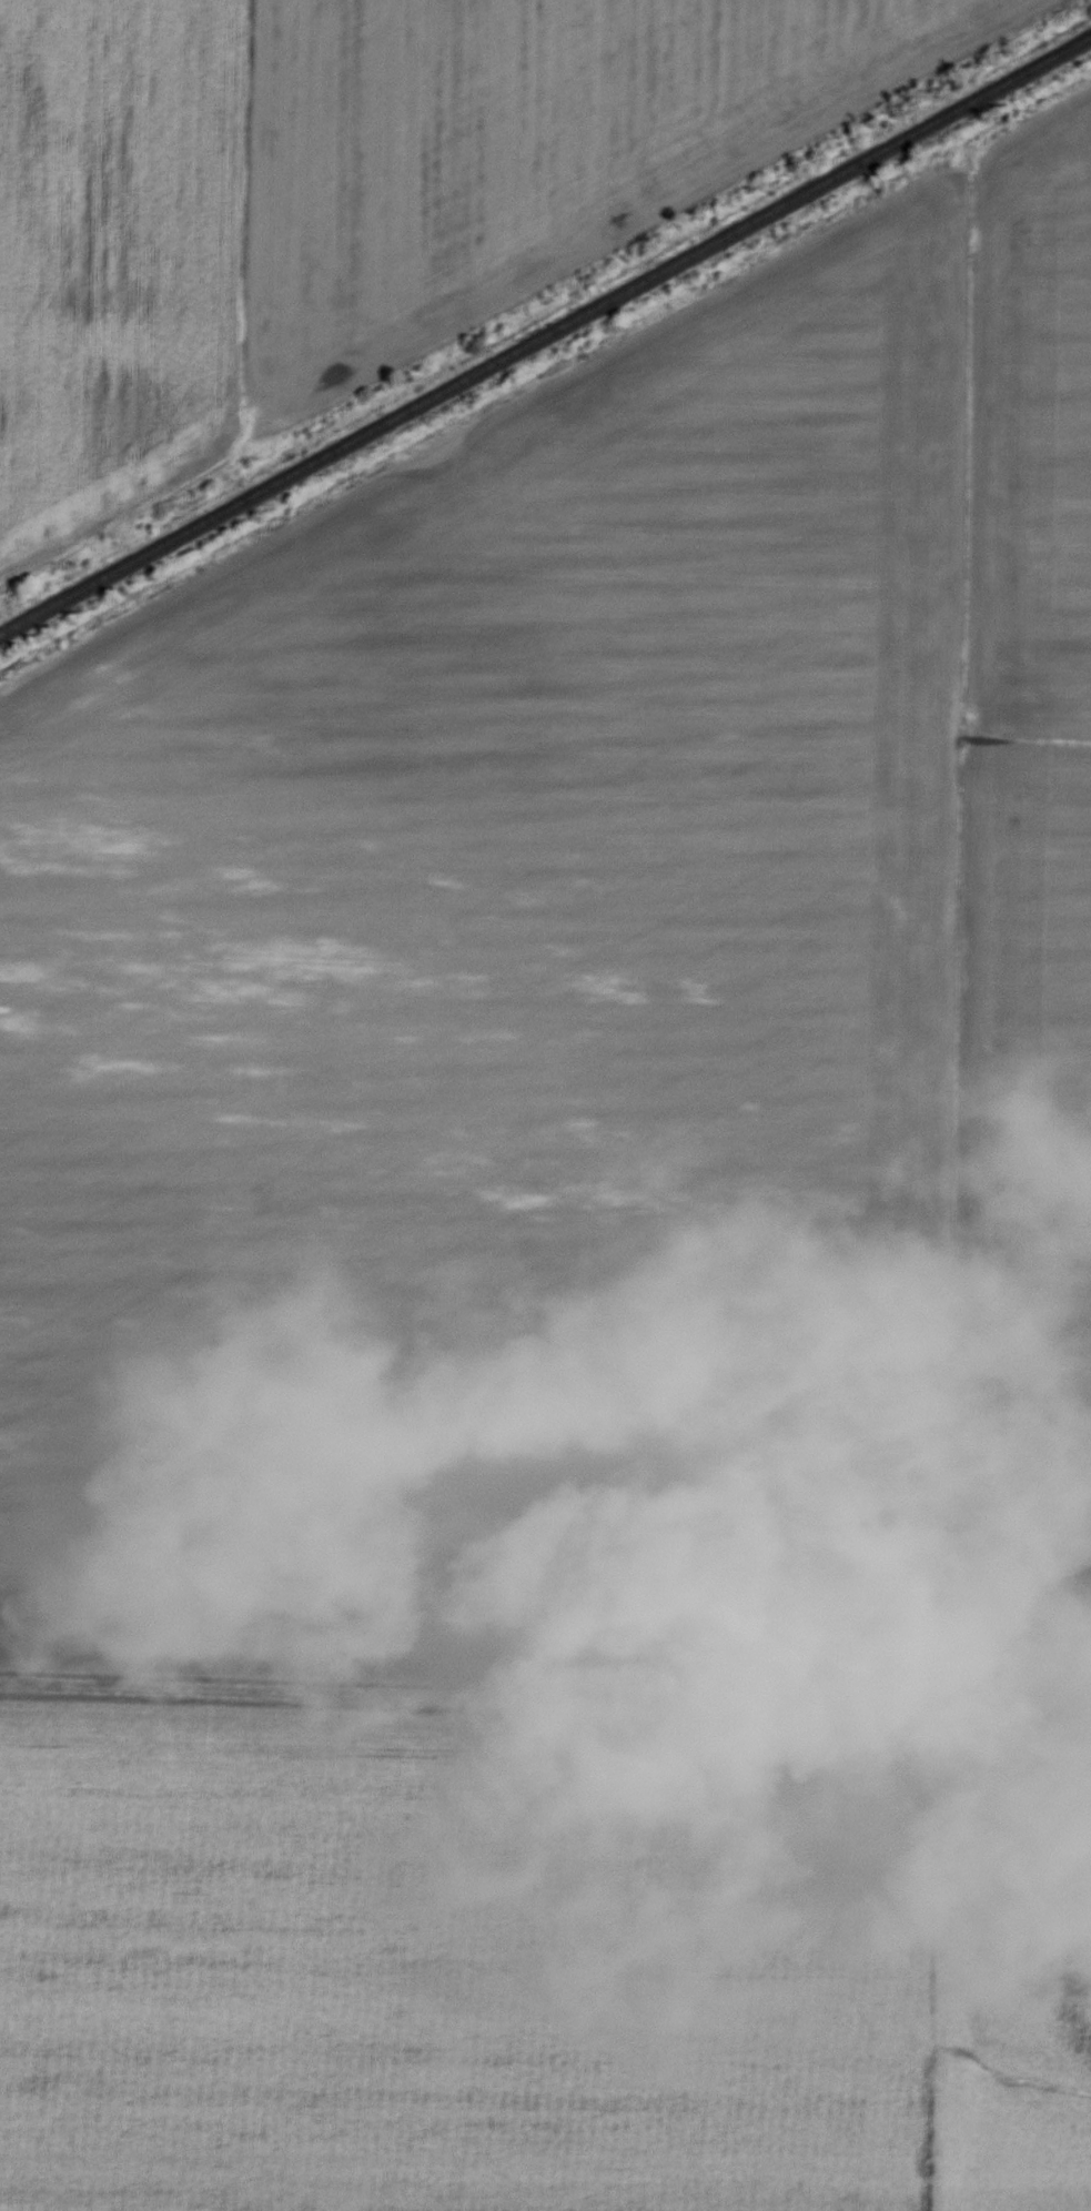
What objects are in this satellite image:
railway: (545, 336)

